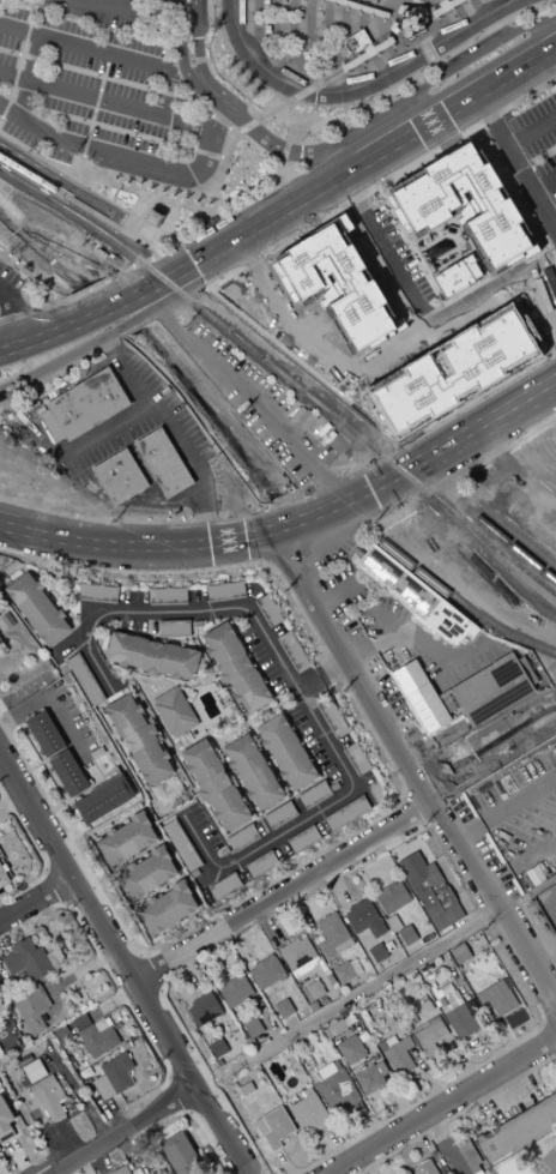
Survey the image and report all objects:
road: (448, 0)
building: (369, 1)
building: (415, 1)
building: (439, 1)
building: (361, 7)
building: (446, 7)
building: (401, 10)
road: (133, 11)
building: (422, 11)
road: (371, 12)
road: (413, 12)
building: (411, 24)
road: (411, 25)
building: (393, 28)
road: (333, 34)
building: (355, 43)
road: (91, 47)
building: (368, 54)
road: (18, 59)
road: (346, 66)
road: (201, 70)
road: (355, 86)
parking lot: (103, 89)
road: (104, 101)
road: (91, 116)
road: (531, 130)
road: (128, 133)
parking lot: (537, 136)
road: (333, 138)
road: (244, 139)
road: (368, 140)
road: (127, 157)
road: (516, 164)
railway: (53, 177)
road: (543, 181)
road: (380, 183)
road: (87, 189)
road: (164, 194)
railway: (69, 197)
road: (310, 197)
railway: (47, 198)
building: (465, 205)
road: (213, 213)
building: (153, 216)
road: (114, 225)
road: (55, 240)
parking lot: (486, 245)
road: (386, 254)
parking lot: (333, 258)
building: (301, 277)
building: (457, 277)
road: (59, 303)
road: (10, 313)
road: (123, 325)
building: (383, 329)
road: (29, 336)
railway: (249, 349)
road: (392, 353)
building: (453, 372)
building: (83, 405)
road: (250, 405)
road: (447, 416)
road: (111, 428)
road: (479, 428)
road: (171, 433)
road: (526, 434)
road: (502, 457)
building: (161, 462)
building: (119, 476)
road: (74, 526)
road: (19, 534)
railway: (478, 535)
railway: (518, 537)
railway: (502, 540)
road: (206, 542)
railway: (498, 562)
building: (398, 583)
building: (224, 591)
building: (97, 594)
road: (338, 594)
building: (167, 596)
railway: (463, 607)
building: (37, 608)
building: (267, 610)
building: (6, 620)
building: (447, 624)
building: (173, 628)
road: (373, 648)
road: (428, 648)
building: (291, 650)
road: (11, 651)
building: (152, 655)
road: (204, 664)
building: (235, 667)
road: (319, 674)
building: (409, 678)
building: (83, 680)
road: (24, 690)
road: (295, 690)
building: (491, 690)
road: (284, 702)
road: (147, 704)
road: (50, 706)
building: (428, 708)
road: (260, 711)
building: (173, 712)
road: (264, 716)
building: (332, 718)
road: (232, 732)
road: (295, 732)
building: (44, 734)
road: (431, 737)
building: (138, 739)
road: (254, 739)
road: (188, 745)
building: (285, 752)
road: (171, 754)
road: (50, 757)
building: (356, 759)
road: (409, 769)
road: (110, 771)
building: (67, 772)
building: (252, 772)
road: (87, 777)
road: (86, 778)
building: (213, 784)
road: (236, 785)
road: (89, 787)
road: (4, 793)
building: (314, 795)
building: (103, 799)
road: (503, 808)
road: (389, 811)
building: (346, 814)
building: (279, 815)
road: (212, 823)
building: (241, 837)
building: (125, 839)
building: (302, 839)
building: (180, 845)
building: (223, 853)
road: (282, 854)
road: (519, 861)
building: (260, 865)
road: (361, 871)
building: (145, 874)
building: (193, 874)
building: (2, 877)
road: (334, 884)
building: (224, 887)
road: (279, 890)
building: (391, 897)
building: (434, 897)
road: (36, 899)
power substation: (548, 905)
road: (300, 907)
building: (167, 908)
road: (2, 914)
building: (364, 919)
road: (262, 922)
building: (393, 923)
road: (534, 934)
road: (253, 935)
building: (332, 935)
building: (406, 935)
road: (291, 937)
road: (277, 939)
road: (423, 940)
road: (4, 944)
road: (542, 949)
building: (296, 952)
building: (377, 952)
building: (459, 953)
road: (397, 959)
building: (26, 961)
road: (122, 967)
road: (189, 967)
building: (301, 969)
road: (81, 971)
road: (449, 971)
building: (266, 973)
building: (343, 973)
building: (427, 973)
road: (302, 980)
road: (362, 981)
road: (325, 982)
road: (406, 986)
building: (313, 989)
building: (234, 991)
building: (447, 992)
road: (357, 993)
road: (50, 994)
building: (496, 998)
road: (111, 1001)
building: (31, 1009)
building: (203, 1009)
building: (283, 1009)
road: (343, 1013)
building: (460, 1017)
road: (291, 1025)
building: (252, 1027)
road: (266, 1027)
building: (425, 1032)
road: (501, 1034)
building: (93, 1035)
road: (489, 1041)
building: (217, 1048)
building: (351, 1050)
building: (397, 1054)
road: (551, 1056)
road: (230, 1059)
road: (463, 1062)
building: (380, 1067)
road: (249, 1070)
building: (31, 1071)
building: (117, 1072)
building: (368, 1079)
road: (69, 1082)
road: (430, 1086)
building: (87, 1088)
building: (101, 1088)
building: (334, 1088)
building: (246, 1089)
road: (285, 1089)
building: (56, 1091)
building: (307, 1091)
building: (46, 1097)
building: (294, 1097)
road: (443, 1104)
road: (401, 1110)
building: (307, 1113)
road: (113, 1118)
building: (4, 1122)
building: (273, 1128)
building: (519, 1130)
road: (122, 1131)
road: (371, 1131)
road: (203, 1133)
road: (424, 1142)
road: (64, 1143)
road: (337, 1144)
road: (442, 1145)
road: (126, 1148)
building: (181, 1155)
building: (469, 1156)
park: (528, 1157)
park: (546, 1162)
road: (282, 1163)
road: (81, 1166)
building: (441, 1167)
building: (424, 1168)
building: (120, 1170)
building: (405, 1172)

